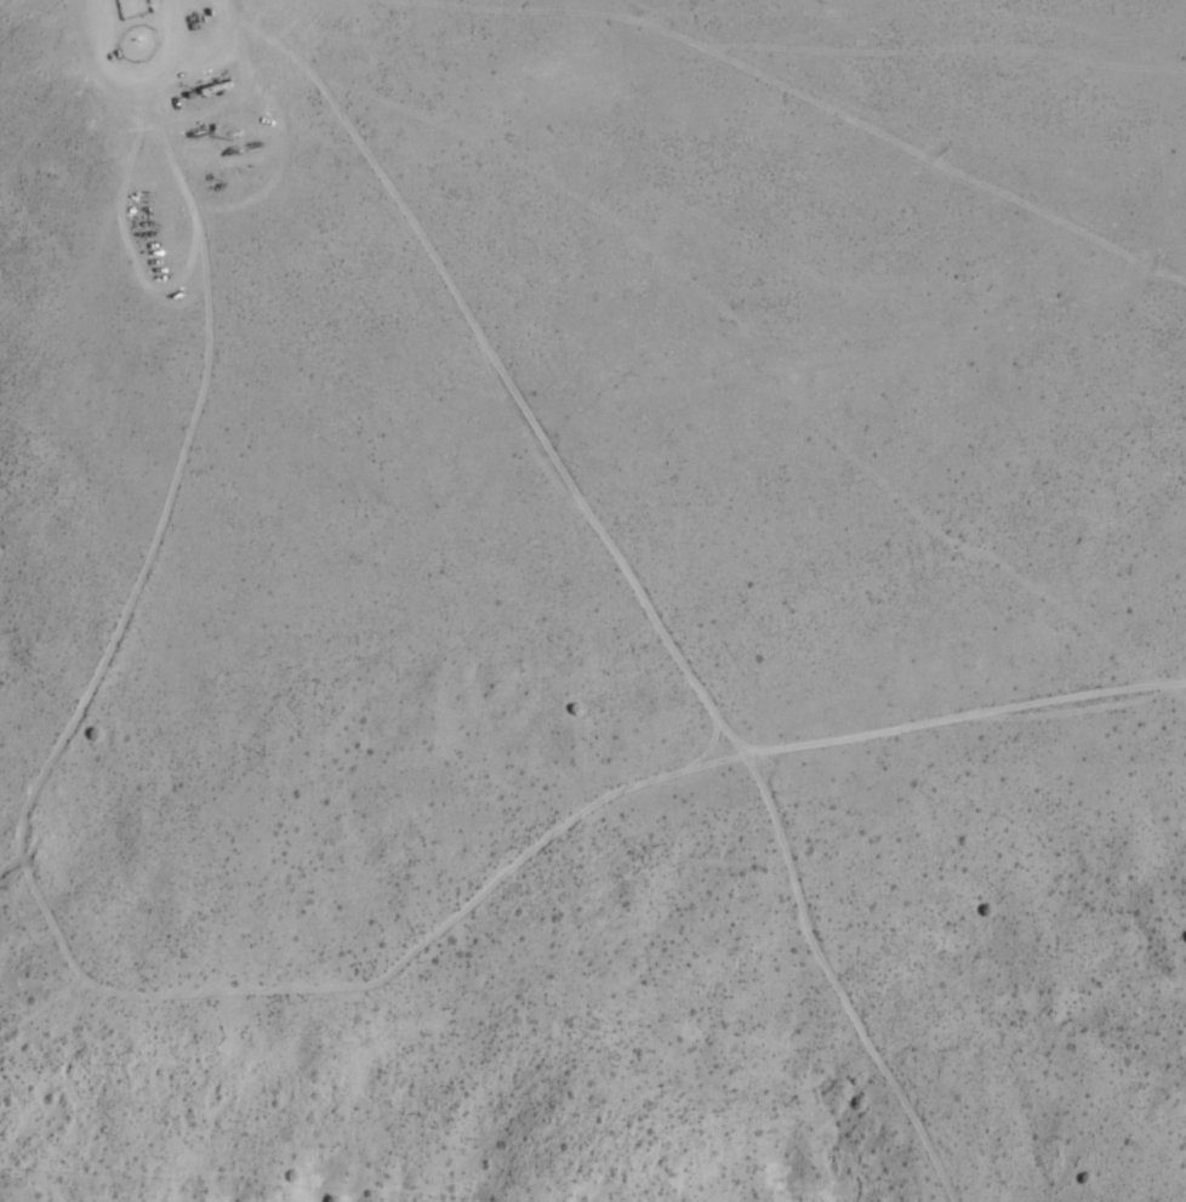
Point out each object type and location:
road: (1182, 1)

